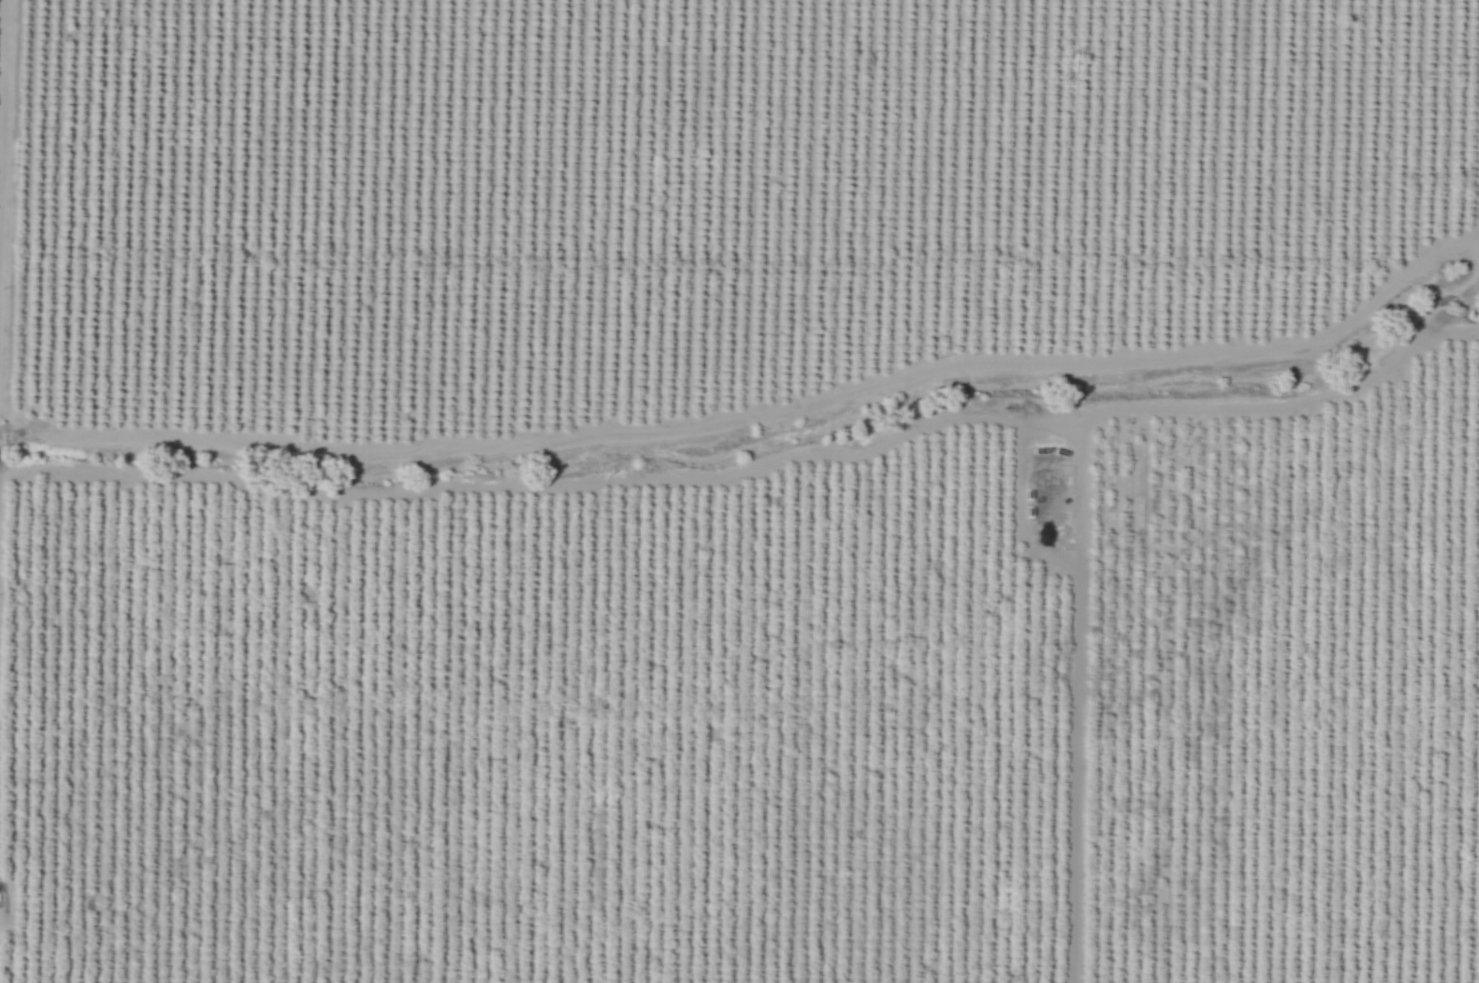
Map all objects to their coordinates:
road: (5, 187)
road: (1073, 766)

